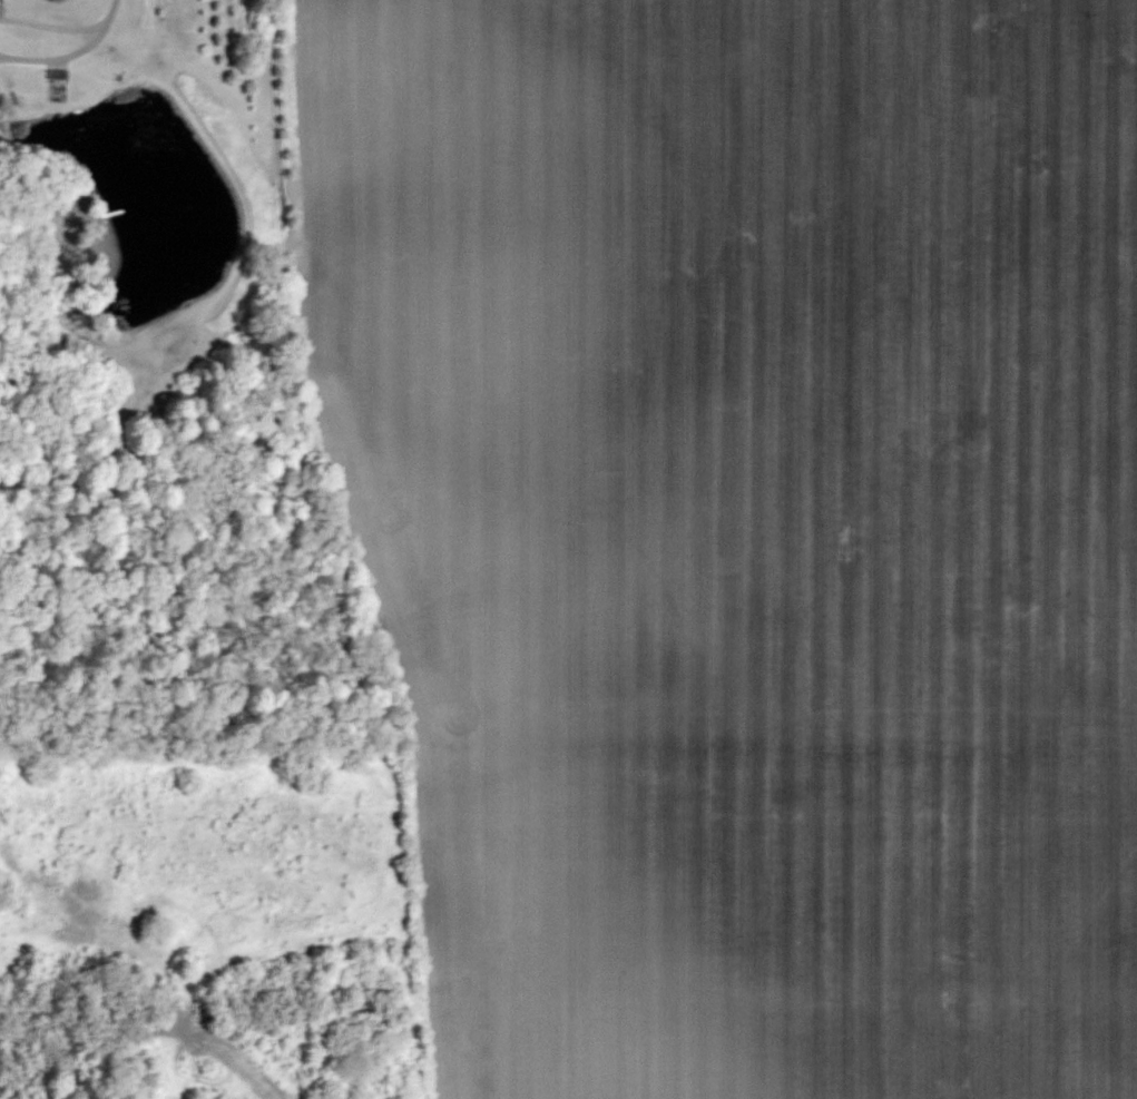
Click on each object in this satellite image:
road: (108, 16)
road: (94, 36)

